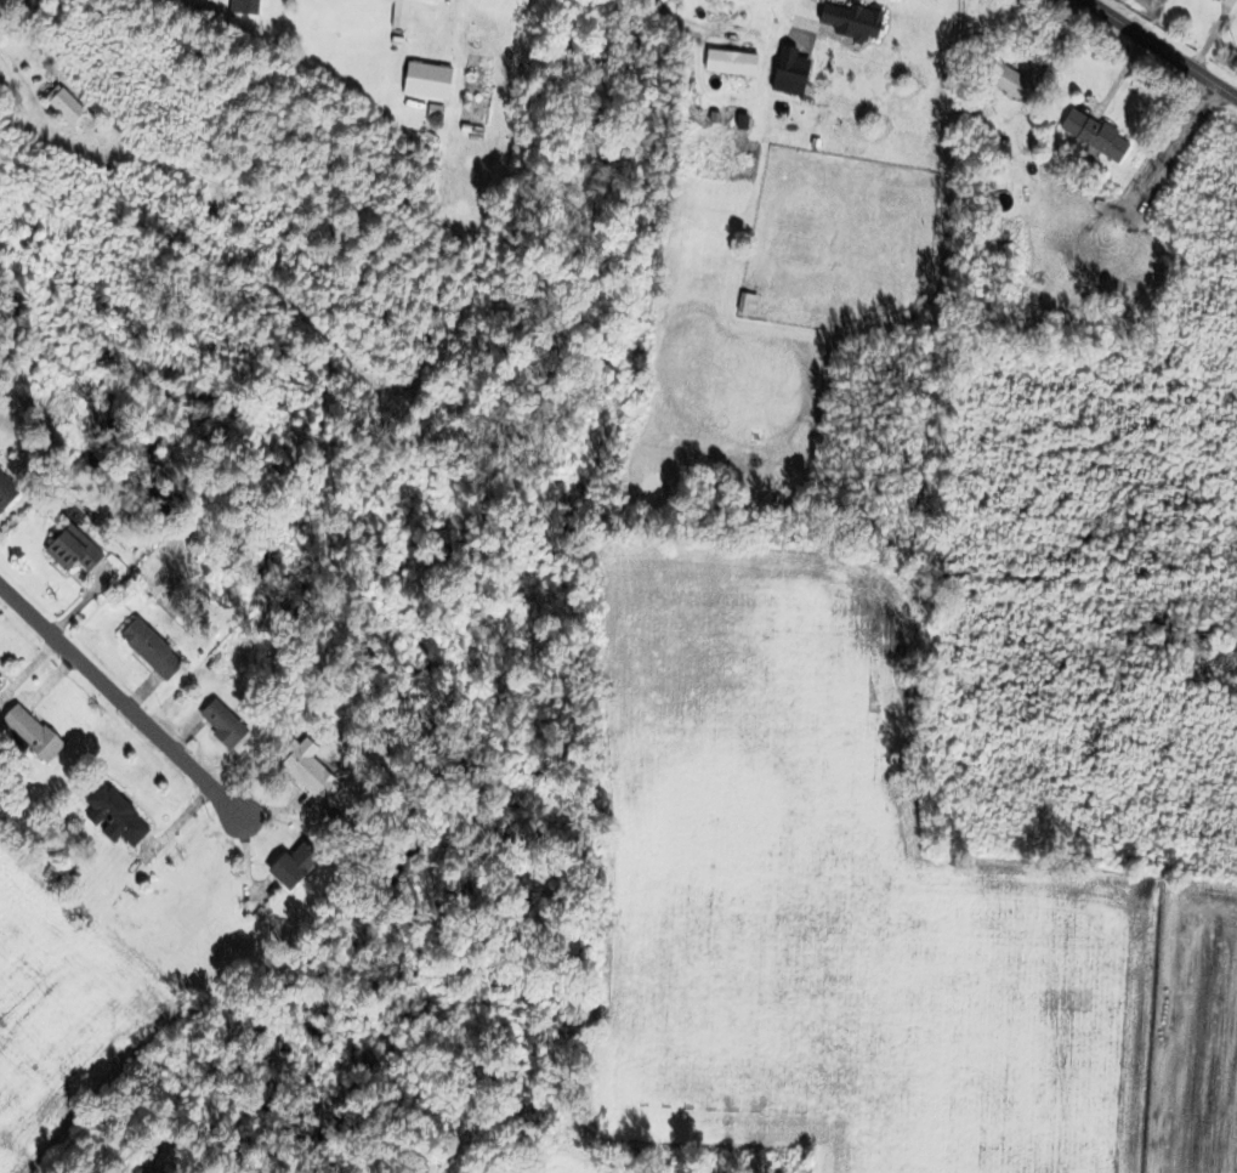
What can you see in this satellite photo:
building: (1216, 0)
building: (845, 19)
road: (1169, 44)
building: (726, 62)
building: (784, 72)
building: (1008, 84)
building: (61, 107)
building: (1091, 135)
building: (991, 243)
building: (743, 304)
building: (4, 492)
building: (67, 549)
building: (146, 650)
road: (121, 698)
building: (216, 724)
building: (25, 732)
building: (301, 769)
building: (110, 815)
building: (286, 862)

